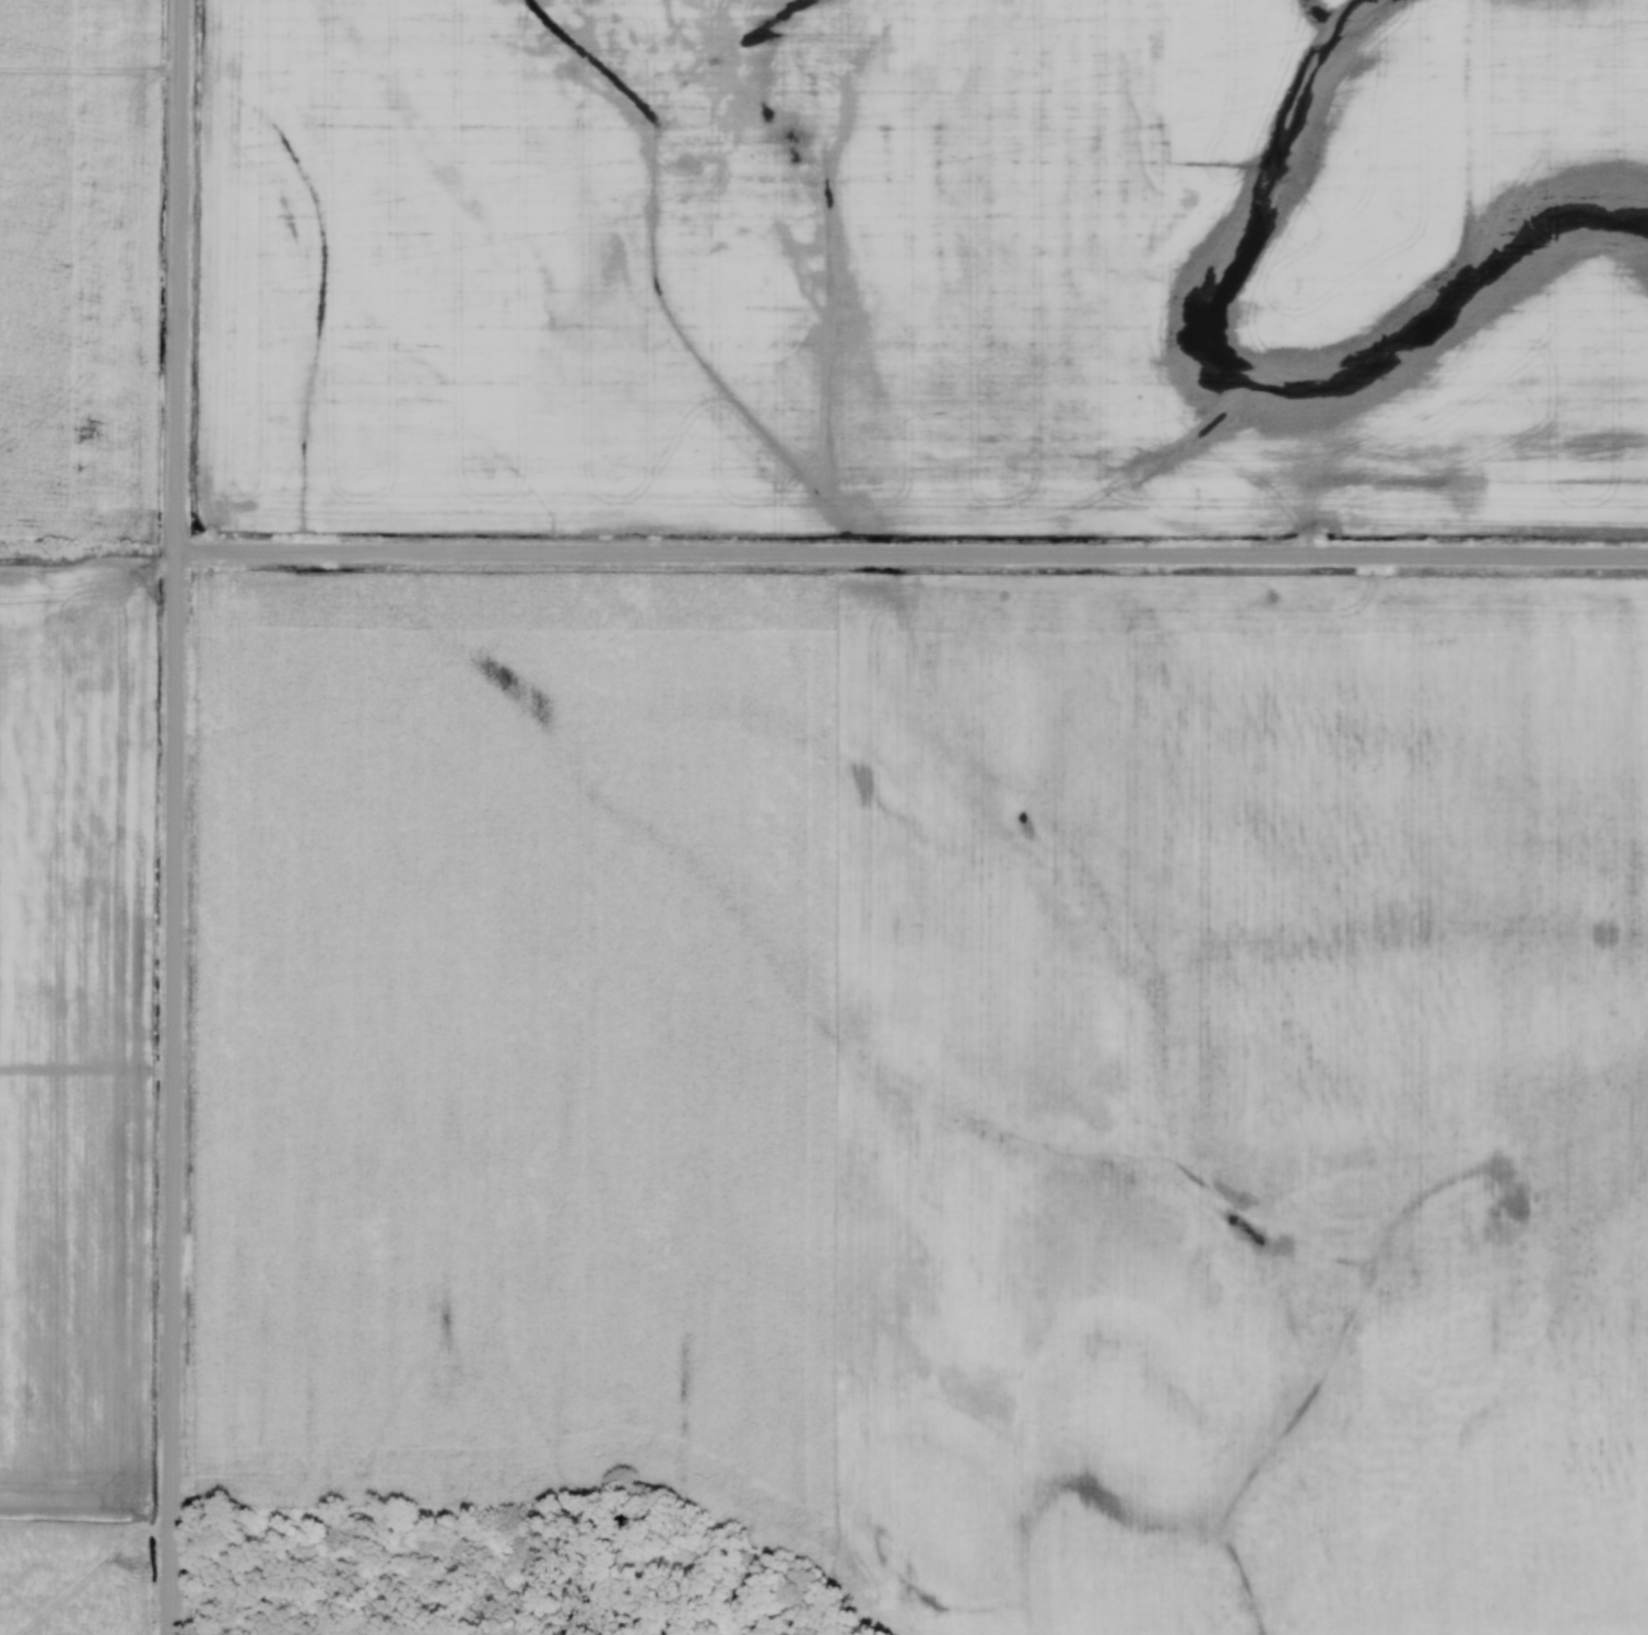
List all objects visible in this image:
road: (914, 553)
road: (177, 818)

